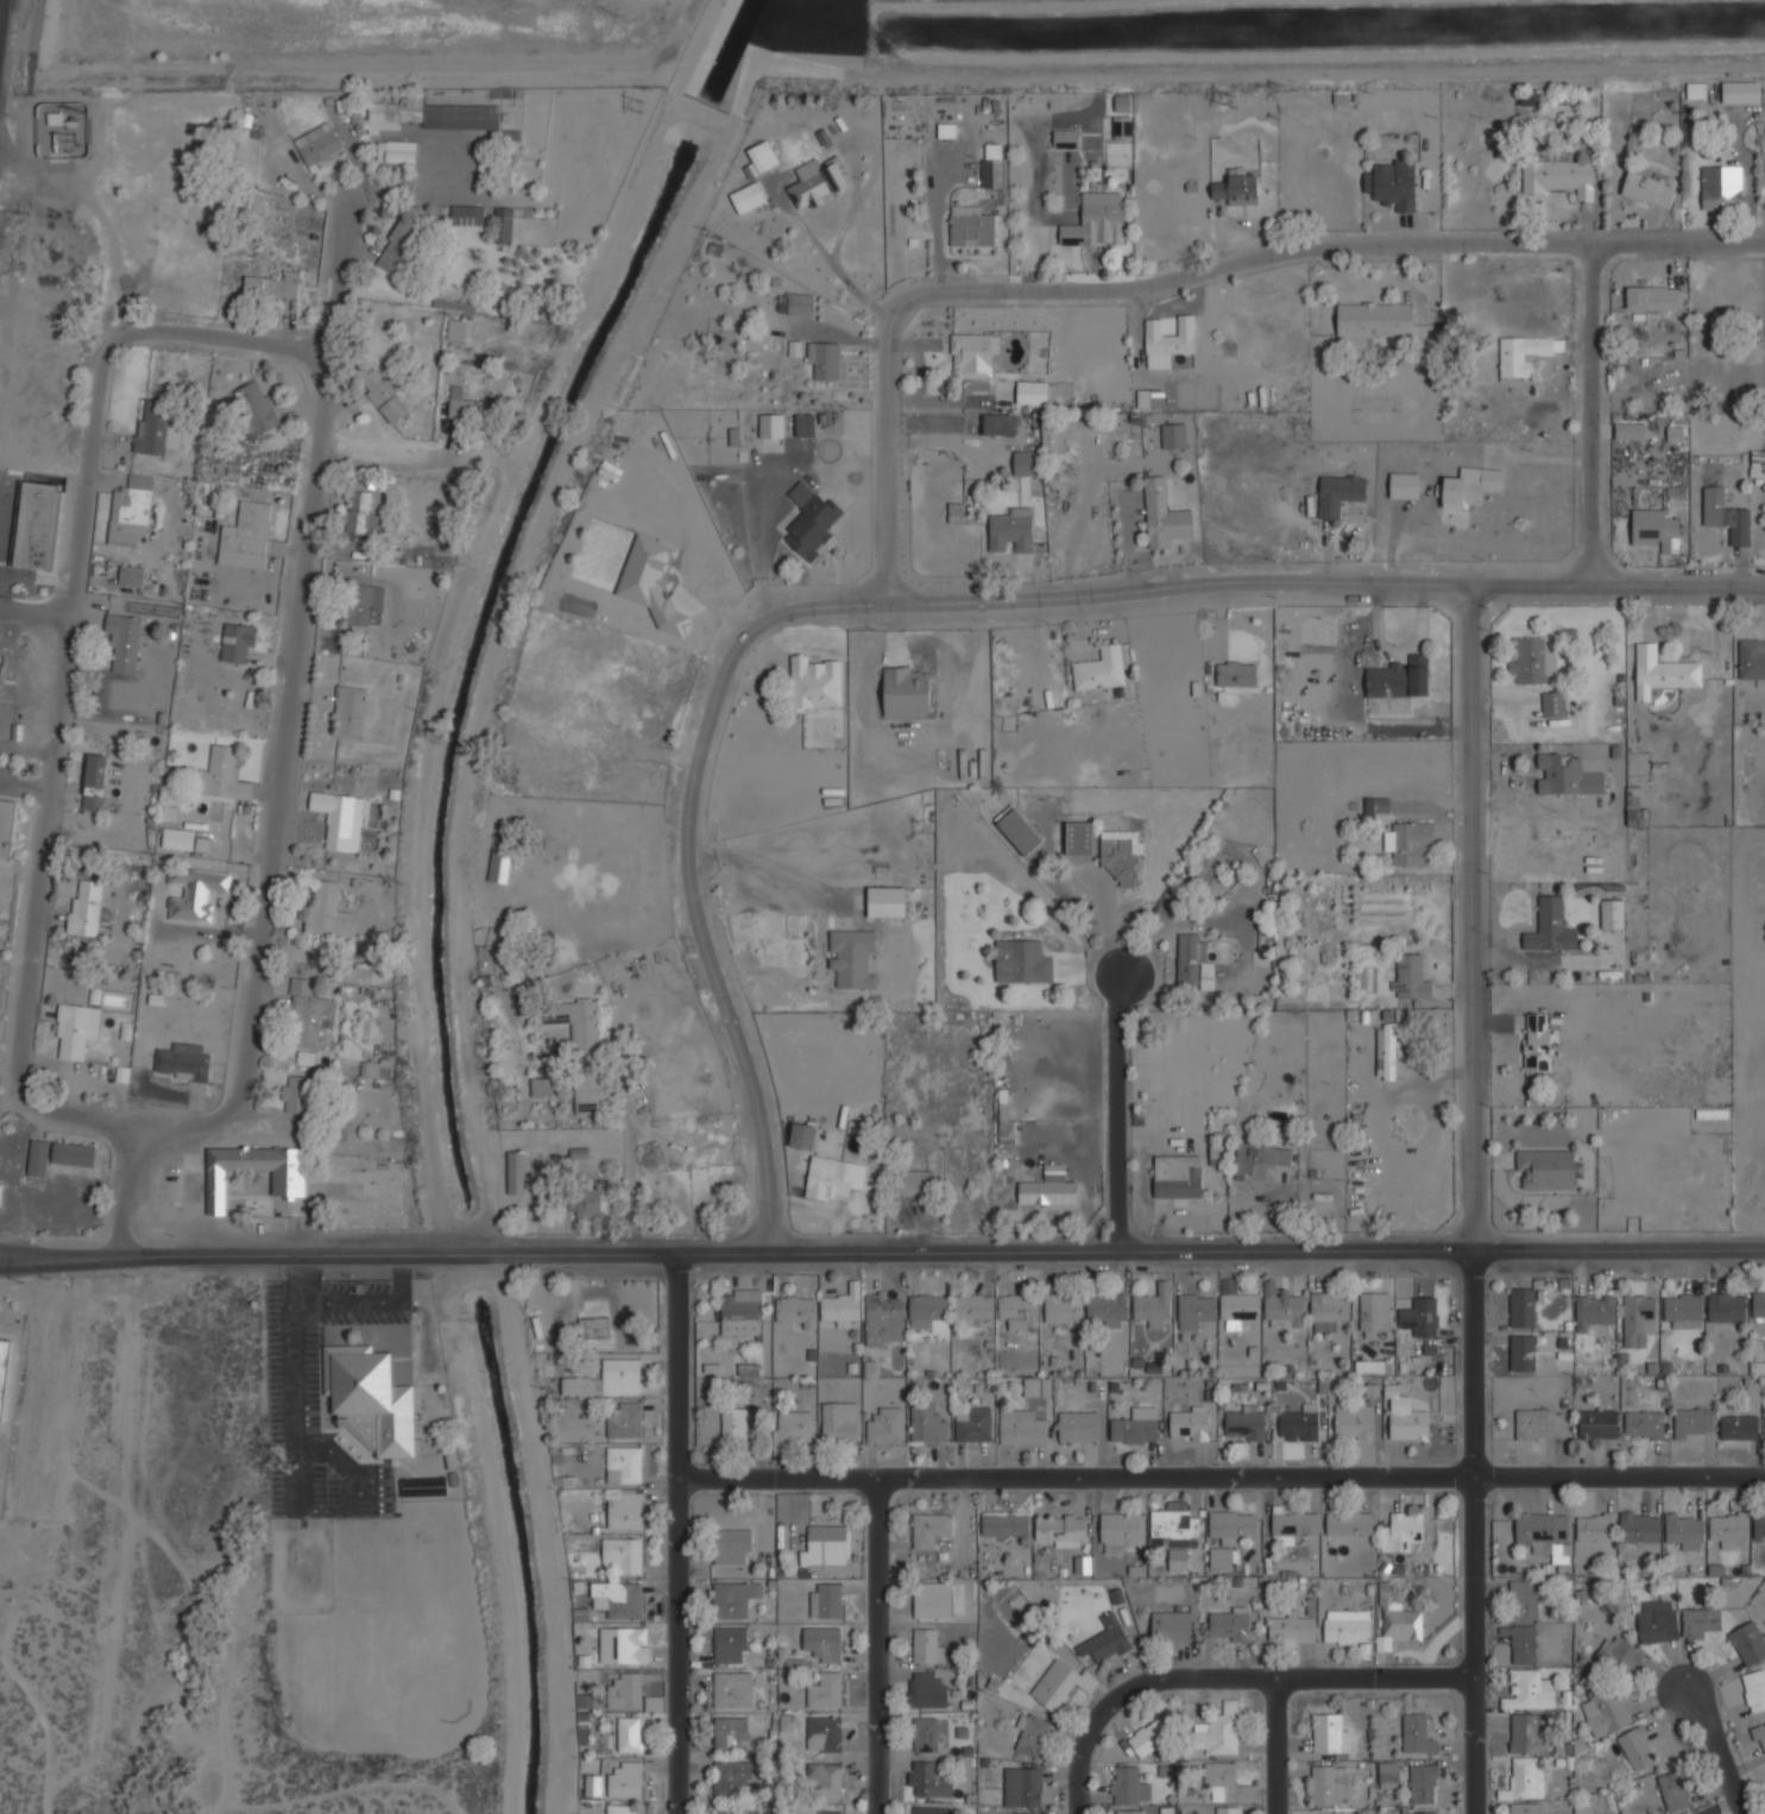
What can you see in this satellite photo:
building: (1695, 90)
building: (1739, 92)
building: (392, 113)
building: (460, 116)
building: (1121, 127)
building: (946, 130)
power substation: (67, 131)
building: (1065, 138)
building: (317, 144)
building: (396, 151)
building: (994, 169)
building: (1559, 177)
building: (815, 183)
building: (1392, 184)
building: (1236, 188)
building: (1646, 188)
building: (1721, 188)
building: (746, 197)
building: (467, 215)
building: (1097, 220)
building: (503, 225)
building: (971, 229)
building: (396, 245)
road: (1179, 282)
building: (273, 285)
building: (1654, 297)
building: (795, 303)
building: (1375, 319)
building: (455, 329)
road: (218, 335)
building: (1168, 338)
building: (972, 353)
building: (1523, 353)
building: (824, 359)
building: (976, 385)
building: (1030, 391)
building: (384, 396)
building: (1151, 397)
building: (469, 405)
building: (256, 407)
road: (1602, 407)
building: (805, 424)
building: (998, 424)
building: (771, 426)
building: (1064, 428)
building: (156, 429)
building: (1630, 430)
building: (1174, 435)
building: (733, 436)
road: (382, 451)
building: (1025, 461)
building: (222, 465)
building: (1404, 485)
building: (1470, 485)
building: (1341, 491)
building: (956, 512)
building: (133, 514)
building: (359, 514)
building: (1164, 515)
building: (1726, 516)
building: (811, 521)
building: (37, 525)
building: (1010, 529)
building: (1654, 529)
building: (246, 536)
building: (132, 580)
building: (654, 582)
road: (1325, 586)
building: (364, 604)
road: (33, 606)
building: (125, 640)
building: (238, 642)
building: (1752, 657)
building: (1533, 659)
road: (10, 667)
building: (1101, 668)
road: (290, 669)
building: (1663, 670)
building: (1236, 674)
building: (1399, 678)
building: (815, 682)
building: (906, 689)
building: (1552, 703)
building: (349, 712)
road: (51, 737)
building: (96, 770)
building: (1567, 774)
building: (222, 775)
building: (93, 801)
building: (1375, 805)
building: (342, 820)
building: (6, 829)
building: (1019, 829)
building: (178, 838)
building: (1079, 838)
building: (1408, 842)
building: (1121, 852)
road: (696, 863)
building: (500, 864)
building: (195, 892)
building: (887, 900)
building: (87, 911)
building: (327, 912)
building: (1613, 914)
road: (1474, 915)
building: (1551, 926)
building: (852, 956)
building: (1027, 960)
building: (1193, 962)
building: (1410, 976)
building: (309, 1015)
building: (76, 1028)
building: (1537, 1041)
building: (578, 1047)
building: (1385, 1051)
building: (305, 1058)
building: (1401, 1060)
building: (183, 1062)
building: (377, 1069)
building: (542, 1086)
building: (295, 1094)
road: (1117, 1109)
building: (1006, 1125)
building: (802, 1135)
building: (1216, 1152)
building: (74, 1154)
road: (630, 1157)
building: (1261, 1157)
building: (38, 1159)
building: (1546, 1170)
building: (516, 1172)
building: (1178, 1176)
building: (827, 1177)
building: (288, 1183)
road: (128, 1186)
building: (915, 1188)
building: (1048, 1188)
building: (0, 1189)
building: (164, 1189)
building: (593, 1202)
building: (354, 1215)
road: (1618, 1248)
road: (1072, 1251)
road: (336, 1253)
road: (303, 1268)
road: (402, 1278)
road: (348, 1302)
building: (1759, 1303)
building: (1240, 1305)
building: (1284, 1305)
building: (1330, 1305)
building: (841, 1306)
building: (973, 1306)
building: (1064, 1306)
building: (1151, 1306)
building: (1727, 1306)
building: (1108, 1308)
building: (1196, 1308)
building: (1523, 1308)
building: (1683, 1308)
building: (796, 1309)
building: (927, 1309)
building: (1019, 1309)
building: (1594, 1310)
building: (1374, 1311)
building: (740, 1314)
building: (1425, 1316)
building: (884, 1318)
building: (1638, 1318)
building: (594, 1327)
building: (1523, 1352)
road: (1471, 1363)
road: (675, 1365)
building: (1369, 1366)
building: (749, 1368)
building: (7, 1377)
parking lot: (292, 1378)
building: (607, 1379)
building: (1038, 1386)
road: (296, 1397)
building: (370, 1398)
building: (625, 1419)
building: (840, 1421)
building: (926, 1422)
building: (1354, 1422)
building: (1534, 1422)
building: (1694, 1422)
building: (738, 1423)
building: (1299, 1423)
building: (1408, 1423)
building: (1599, 1423)
building: (885, 1424)
building: (1644, 1424)
building: (973, 1425)
building: (1078, 1425)
building: (1190, 1425)
building: (1244, 1425)
building: (794, 1426)
building: (1021, 1426)
building: (1739, 1426)
building: (1133, 1430)
building: (624, 1463)
road: (1619, 1476)
road: (1074, 1478)
building: (424, 1485)
road: (361, 1491)
building: (625, 1508)
building: (1296, 1522)
building: (1349, 1522)
building: (1004, 1523)
building: (1173, 1524)
building: (1231, 1525)
building: (1595, 1525)
building: (1640, 1526)
building: (1729, 1526)
building: (1759, 1526)
building: (929, 1529)
building: (1059, 1529)
building: (1542, 1529)
building: (1117, 1530)
building: (1685, 1530)
building: (1402, 1531)
building: (732, 1545)
building: (826, 1545)
building: (623, 1554)
building: (1221, 1558)
building: (1178, 1560)
building: (1082, 1563)
building: (618, 1599)
building: (733, 1600)
building: (825, 1600)
building: (1525, 1600)
building: (939, 1602)
building: (1658, 1621)
building: (1702, 1621)
building: (1171, 1625)
building: (1229, 1625)
building: (1399, 1625)
building: (1348, 1626)
building: (1292, 1629)
building: (1105, 1640)
building: (1750, 1642)
building: (822, 1643)
building: (1524, 1644)
road: (677, 1645)
building: (730, 1645)
road: (878, 1645)
road: (1481, 1645)
building: (624, 1646)
building: (926, 1646)
building: (1619, 1655)
road: (1236, 1680)
building: (1055, 1683)
building: (1754, 1688)
building: (825, 1689)
building: (926, 1689)
building: (732, 1690)
building: (1528, 1690)
building: (625, 1692)
building: (1606, 1711)
building: (1218, 1731)
building: (1331, 1732)
building: (630, 1733)
building: (824, 1733)
building: (1416, 1733)
building: (731, 1734)
building: (926, 1734)
building: (1032, 1734)
building: (1525, 1734)
building: (1760, 1738)
building: (1149, 1740)
road: (1279, 1746)
building: (1638, 1746)
road: (1715, 1756)
building: (1389, 1775)
building: (626, 1780)
building: (732, 1780)
building: (825, 1780)
building: (929, 1780)
building: (1525, 1780)
building: (1225, 1783)
building: (1423, 1783)
building: (1330, 1784)
building: (1023, 1787)
building: (1130, 1787)
building: (1673, 1790)
building: (1527, 1808)
building: (624, 1809)
building: (928, 1809)
building: (731, 1810)
building: (1229, 1810)
building: (1420, 1810)
building: (820, 1812)
building: (1025, 1813)
building: (1132, 1813)
building: (1331, 1813)

